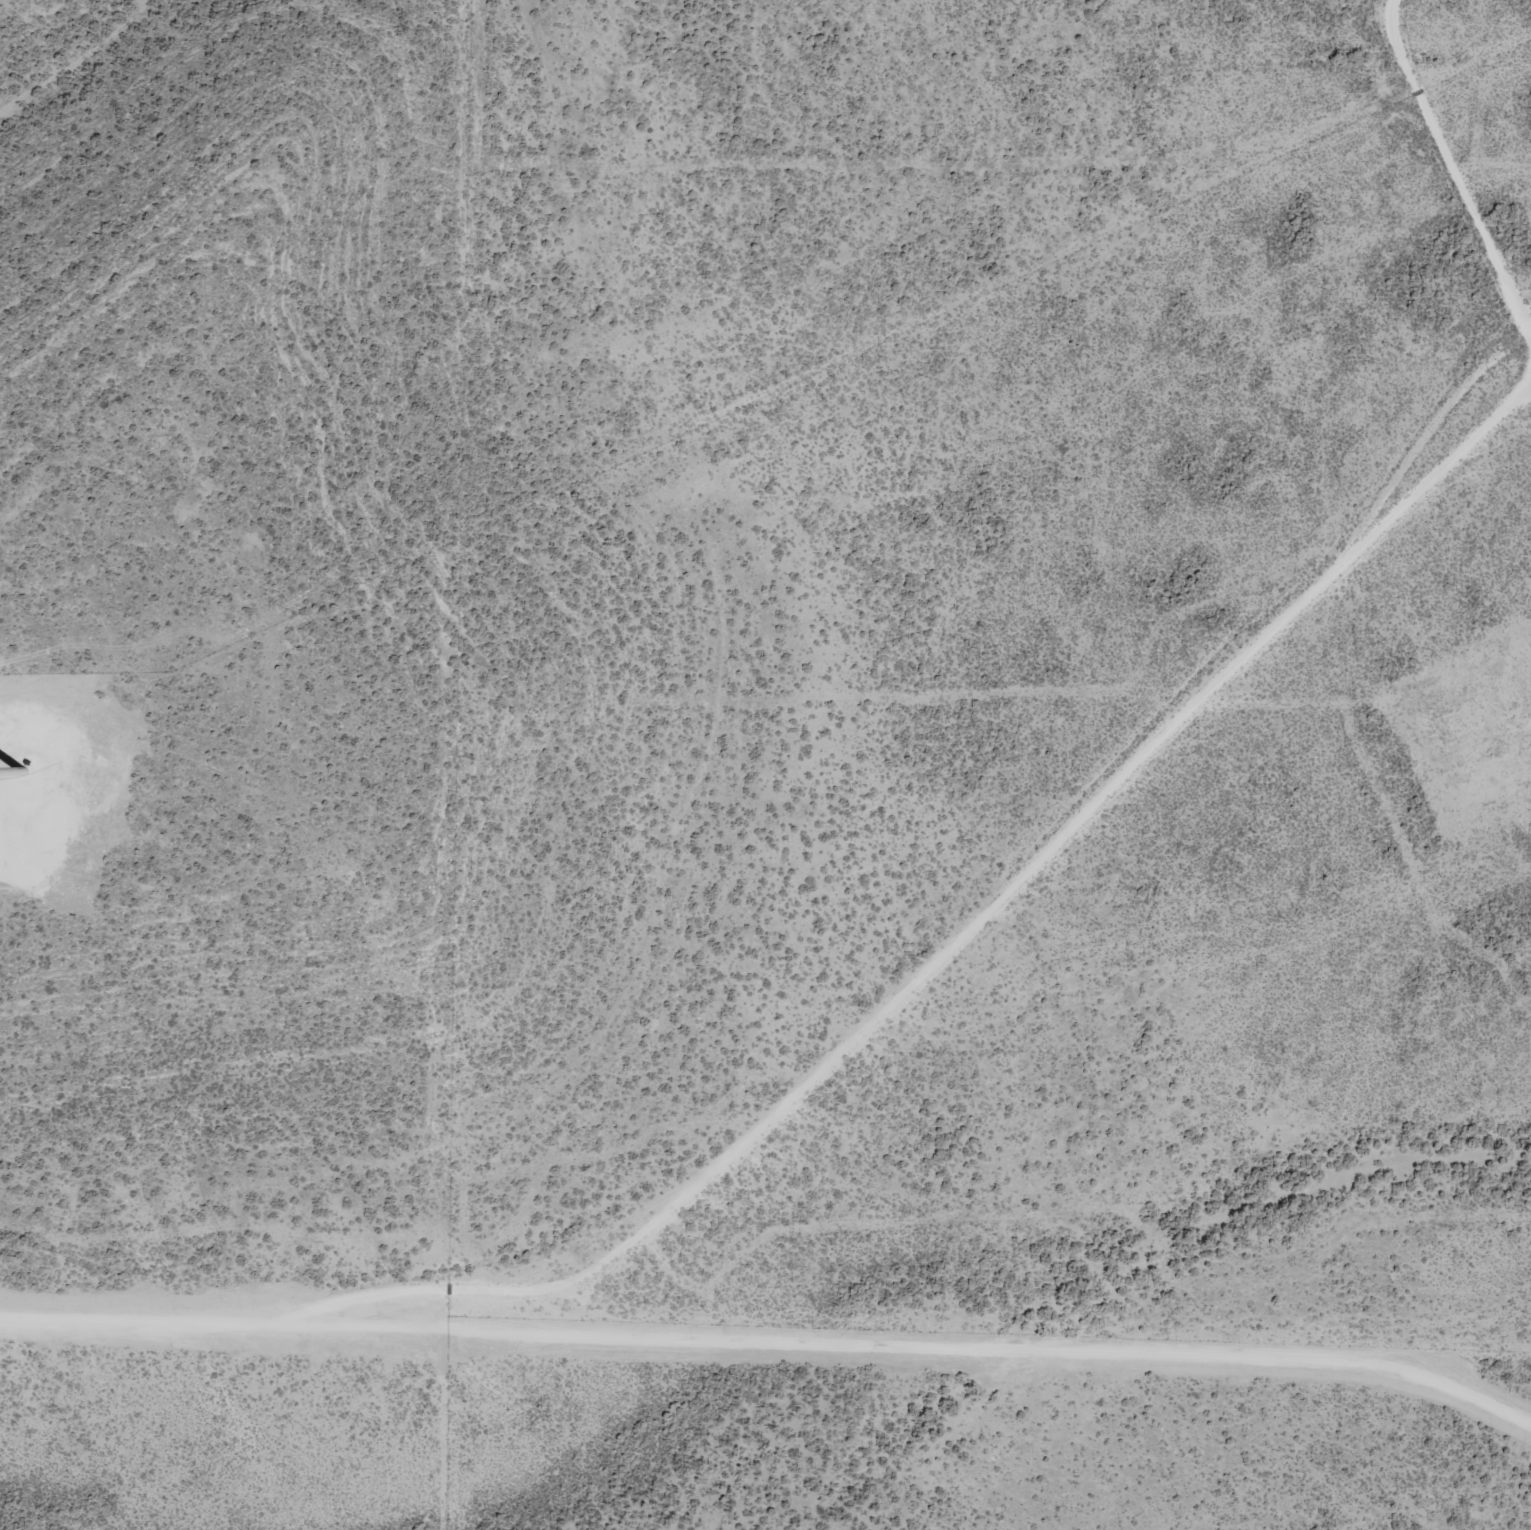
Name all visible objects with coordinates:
wind turbine: (26, 760)
road: (873, 1006)

